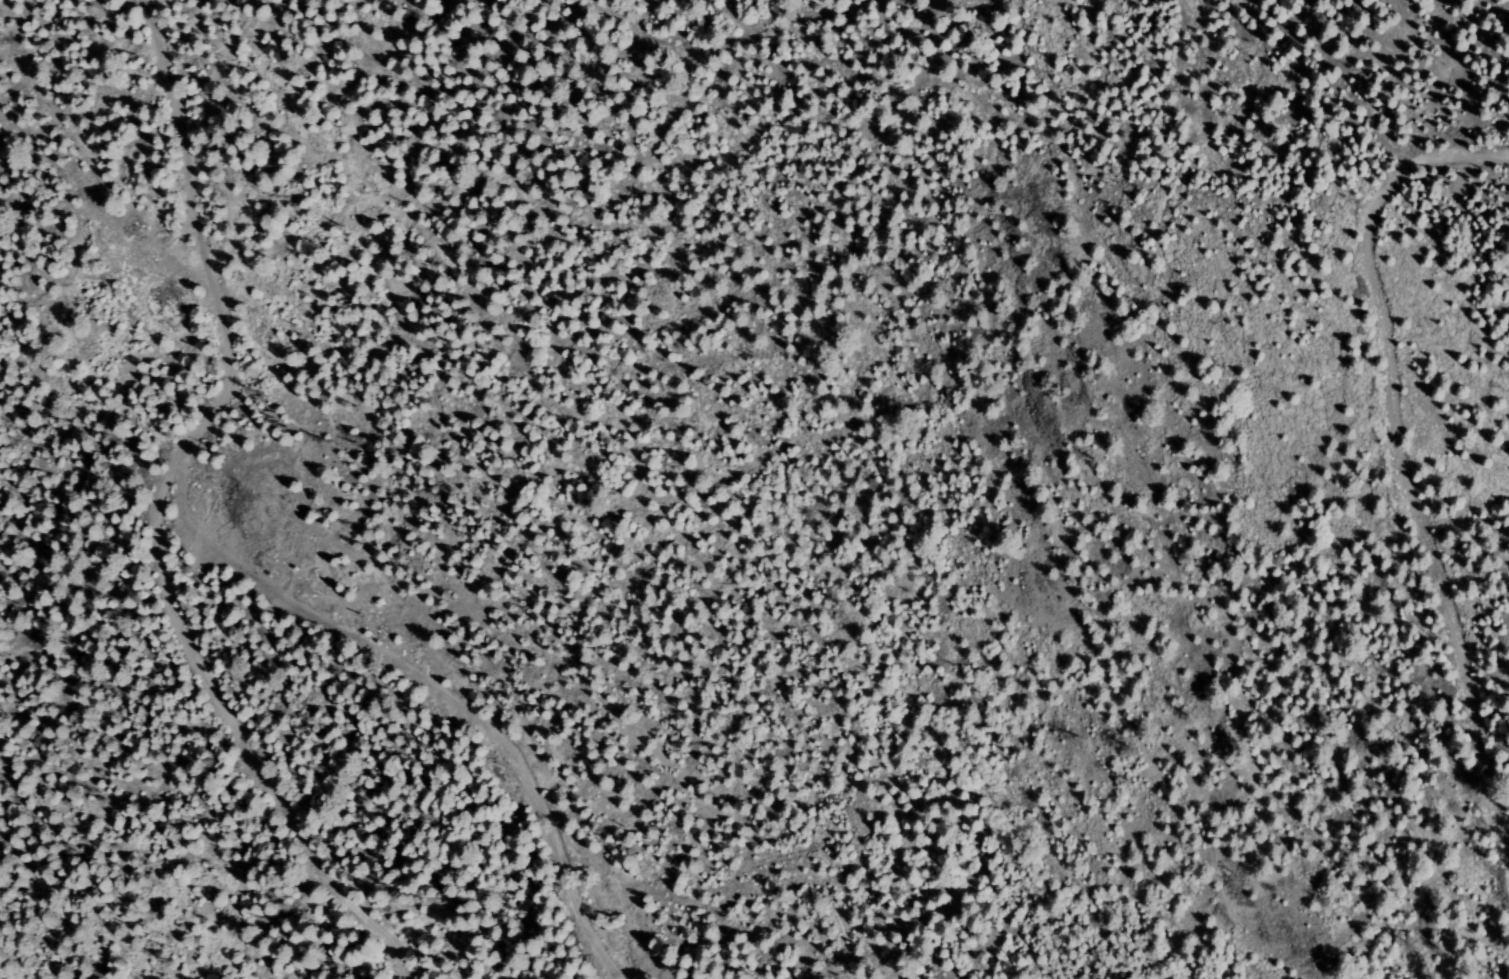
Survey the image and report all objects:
road: (161, 515)

